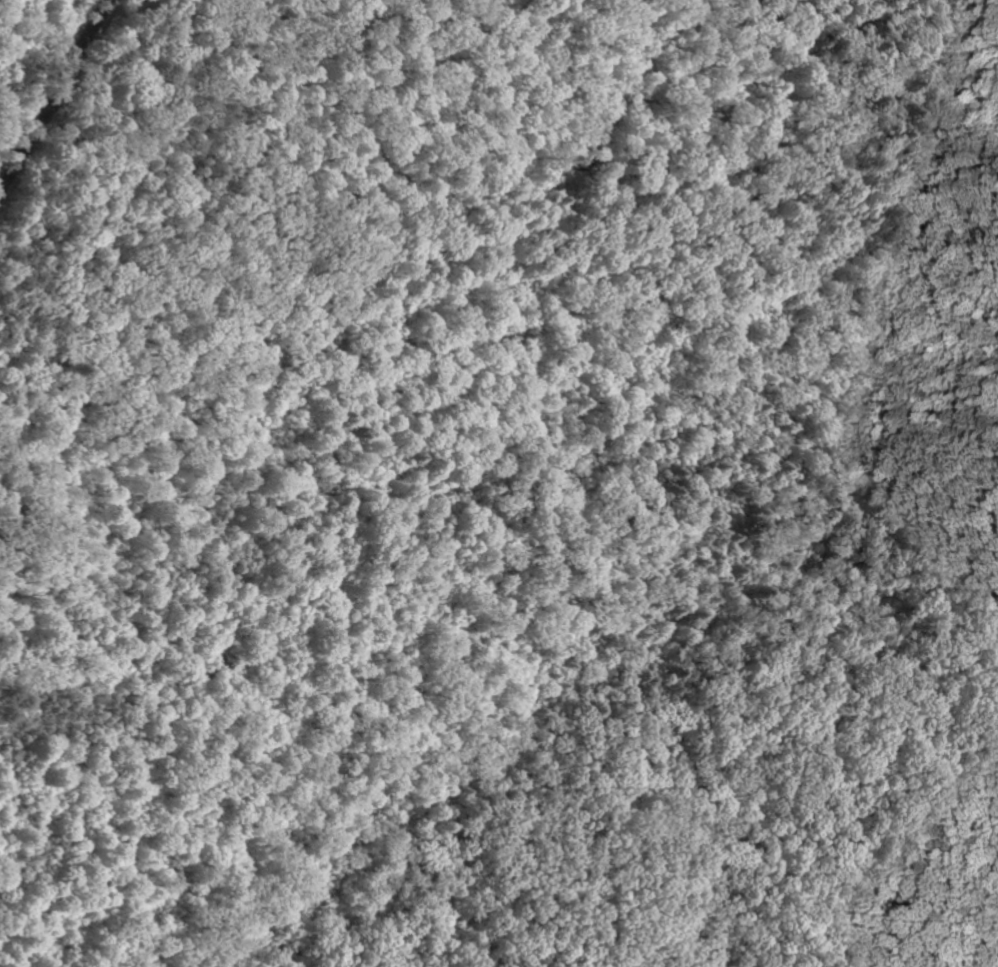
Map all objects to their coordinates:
road: (56, 97)

